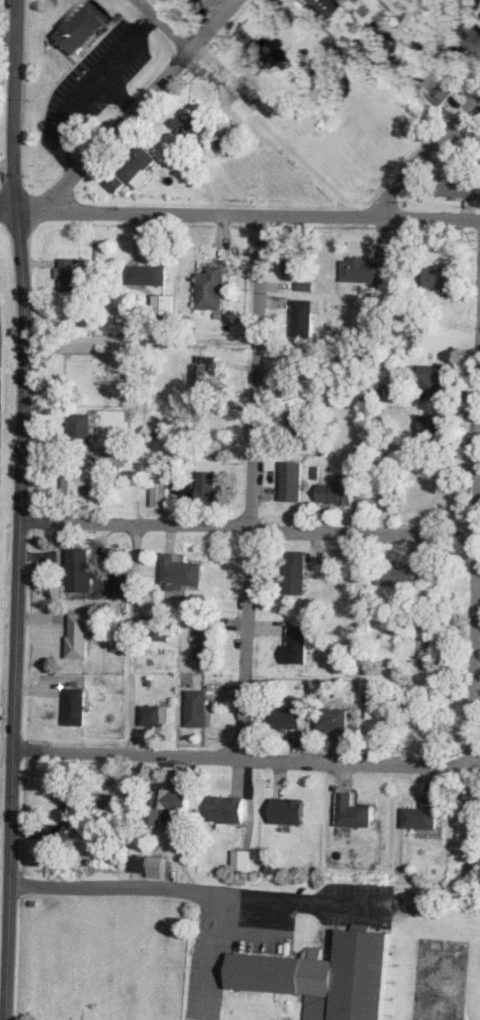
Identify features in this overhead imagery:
building: (322, 6)
building: (83, 28)
building: (470, 43)
road: (179, 51)
building: (265, 53)
building: (442, 91)
road: (88, 95)
road: (122, 95)
road: (145, 105)
building: (324, 117)
building: (193, 125)
road: (423, 159)
building: (139, 167)
building: (115, 183)
building: (455, 186)
road: (9, 211)
road: (249, 221)
building: (292, 263)
building: (364, 270)
building: (73, 273)
building: (148, 274)
building: (444, 278)
building: (212, 288)
building: (164, 304)
building: (303, 318)
road: (136, 334)
building: (207, 372)
building: (437, 383)
building: (300, 422)
building: (81, 428)
building: (434, 429)
building: (76, 480)
building: (294, 482)
building: (210, 486)
road: (252, 492)
building: (339, 493)
building: (162, 494)
road: (21, 510)
road: (26, 522)
road: (248, 531)
building: (80, 570)
building: (182, 572)
building: (297, 573)
building: (396, 576)
building: (434, 576)
building: (160, 628)
building: (79, 636)
building: (208, 641)
building: (299, 646)
road: (477, 655)
building: (76, 702)
building: (380, 704)
building: (200, 709)
building: (156, 716)
building: (291, 718)
building: (336, 719)
road: (247, 762)
building: (473, 801)
building: (167, 804)
building: (230, 809)
building: (289, 811)
building: (353, 812)
building: (424, 815)
building: (77, 816)
building: (142, 864)
road: (191, 896)
building: (329, 975)

